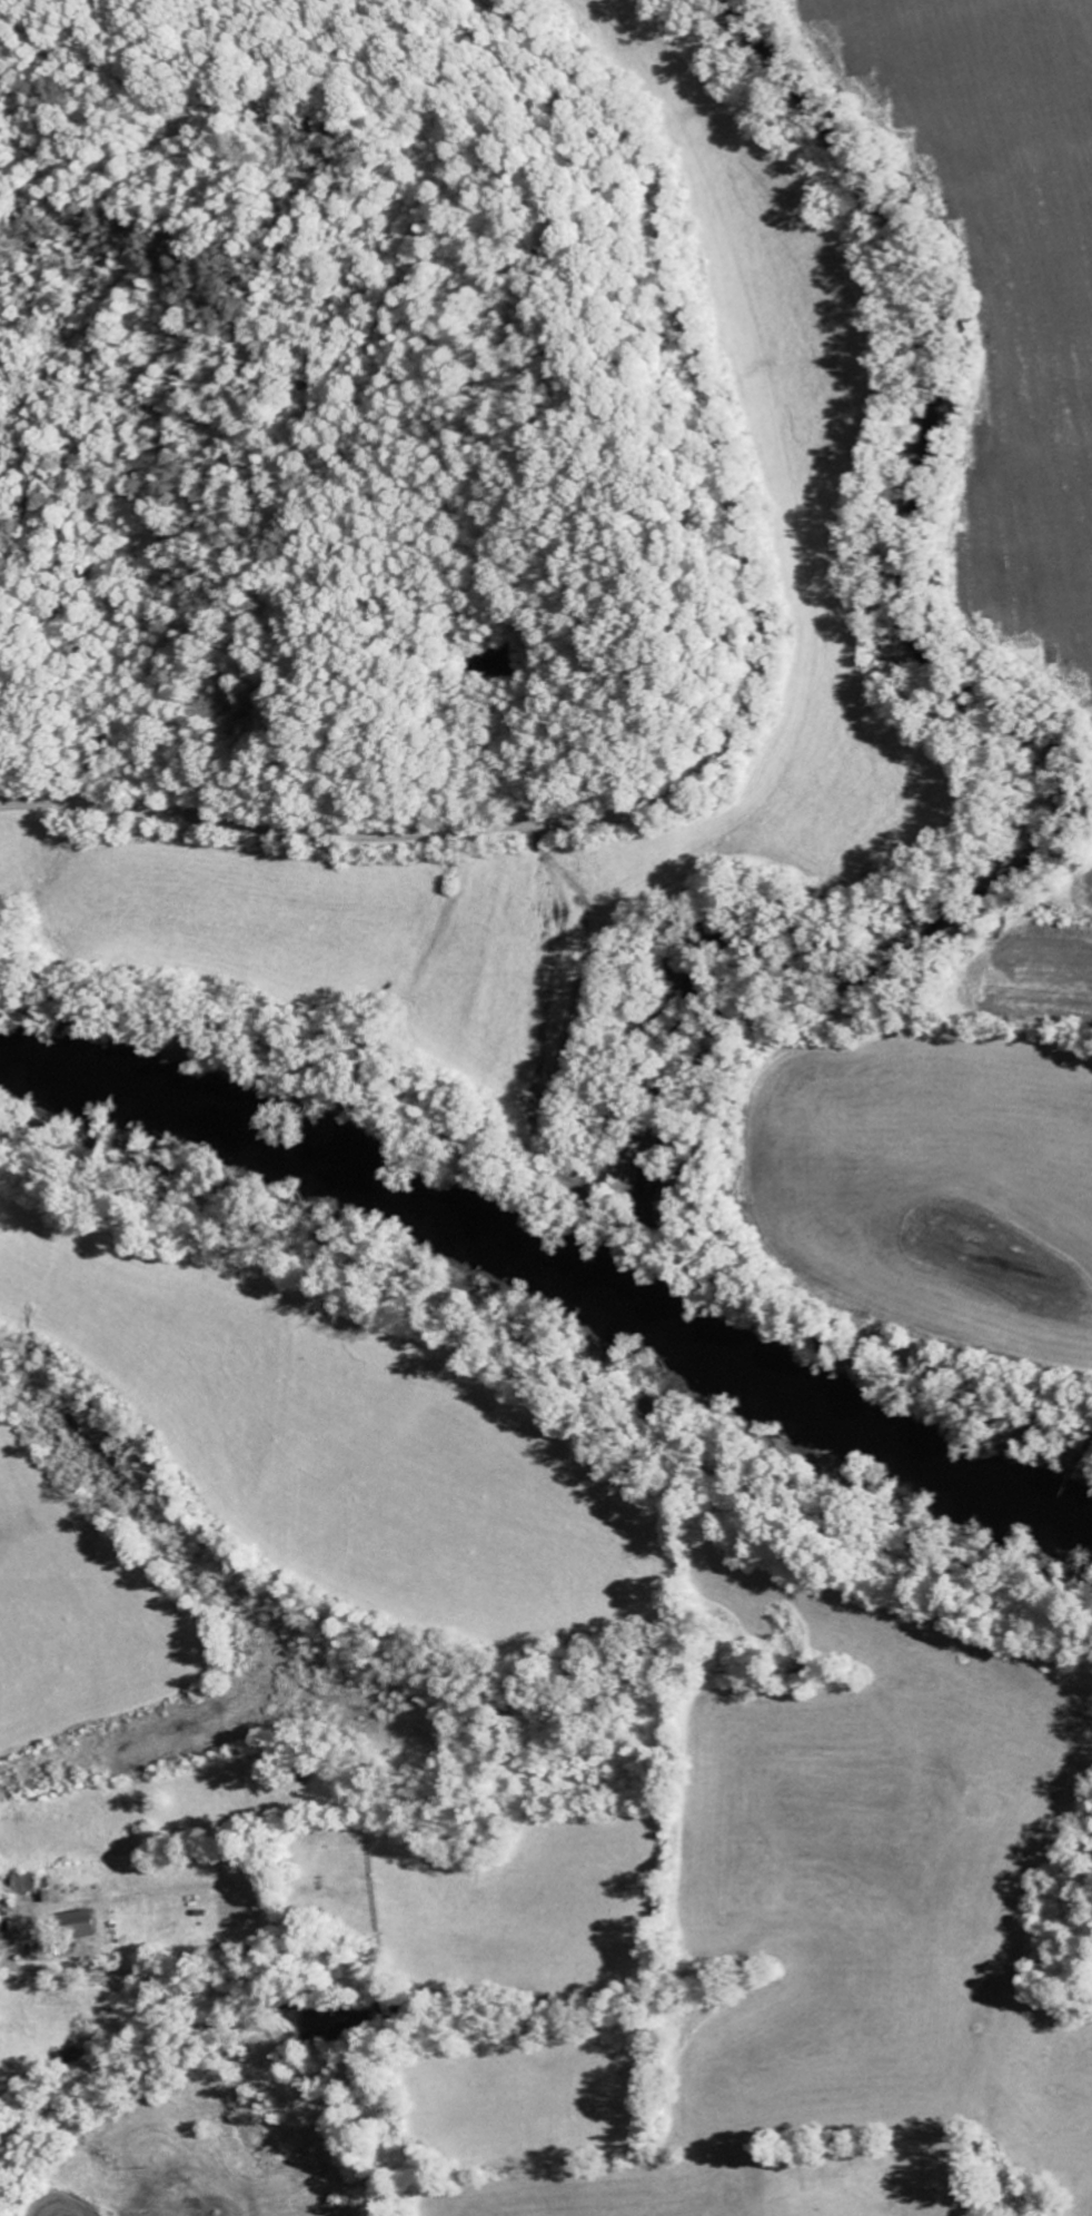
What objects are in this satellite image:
road: (741, 709)
river: (548, 1255)
building: (86, 1925)
road: (318, 2101)

